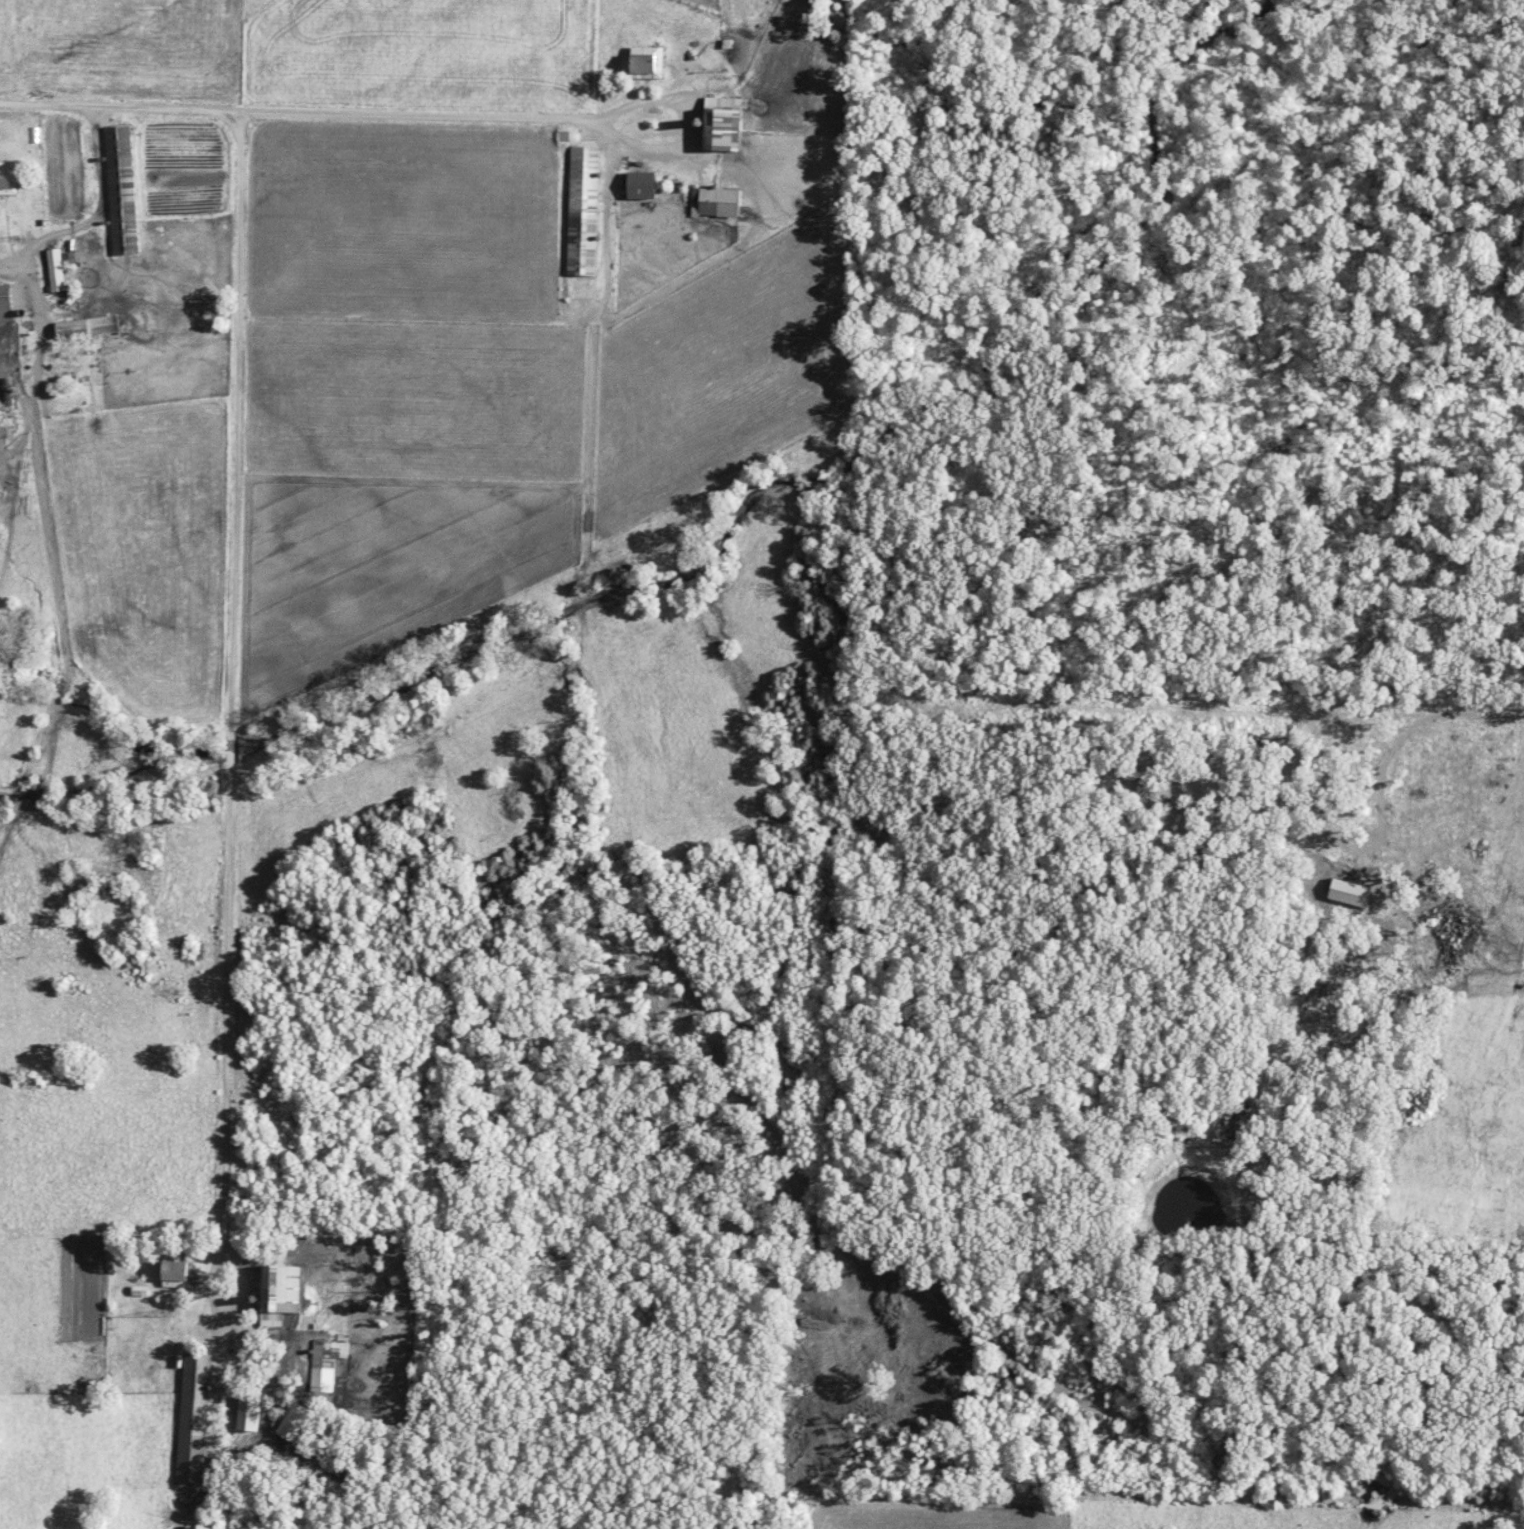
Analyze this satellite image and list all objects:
building: (647, 63)
road: (296, 112)
building: (722, 124)
road: (689, 129)
building: (7, 176)
building: (641, 186)
building: (121, 191)
building: (719, 203)
building: (583, 211)
road: (97, 214)
building: (56, 271)
road: (40, 300)
building: (12, 303)
building: (88, 328)
road: (231, 669)
building: (176, 1272)
building: (281, 1293)
building: (329, 1354)
building: (249, 1412)
building: (193, 1418)
building: (292, 1427)

